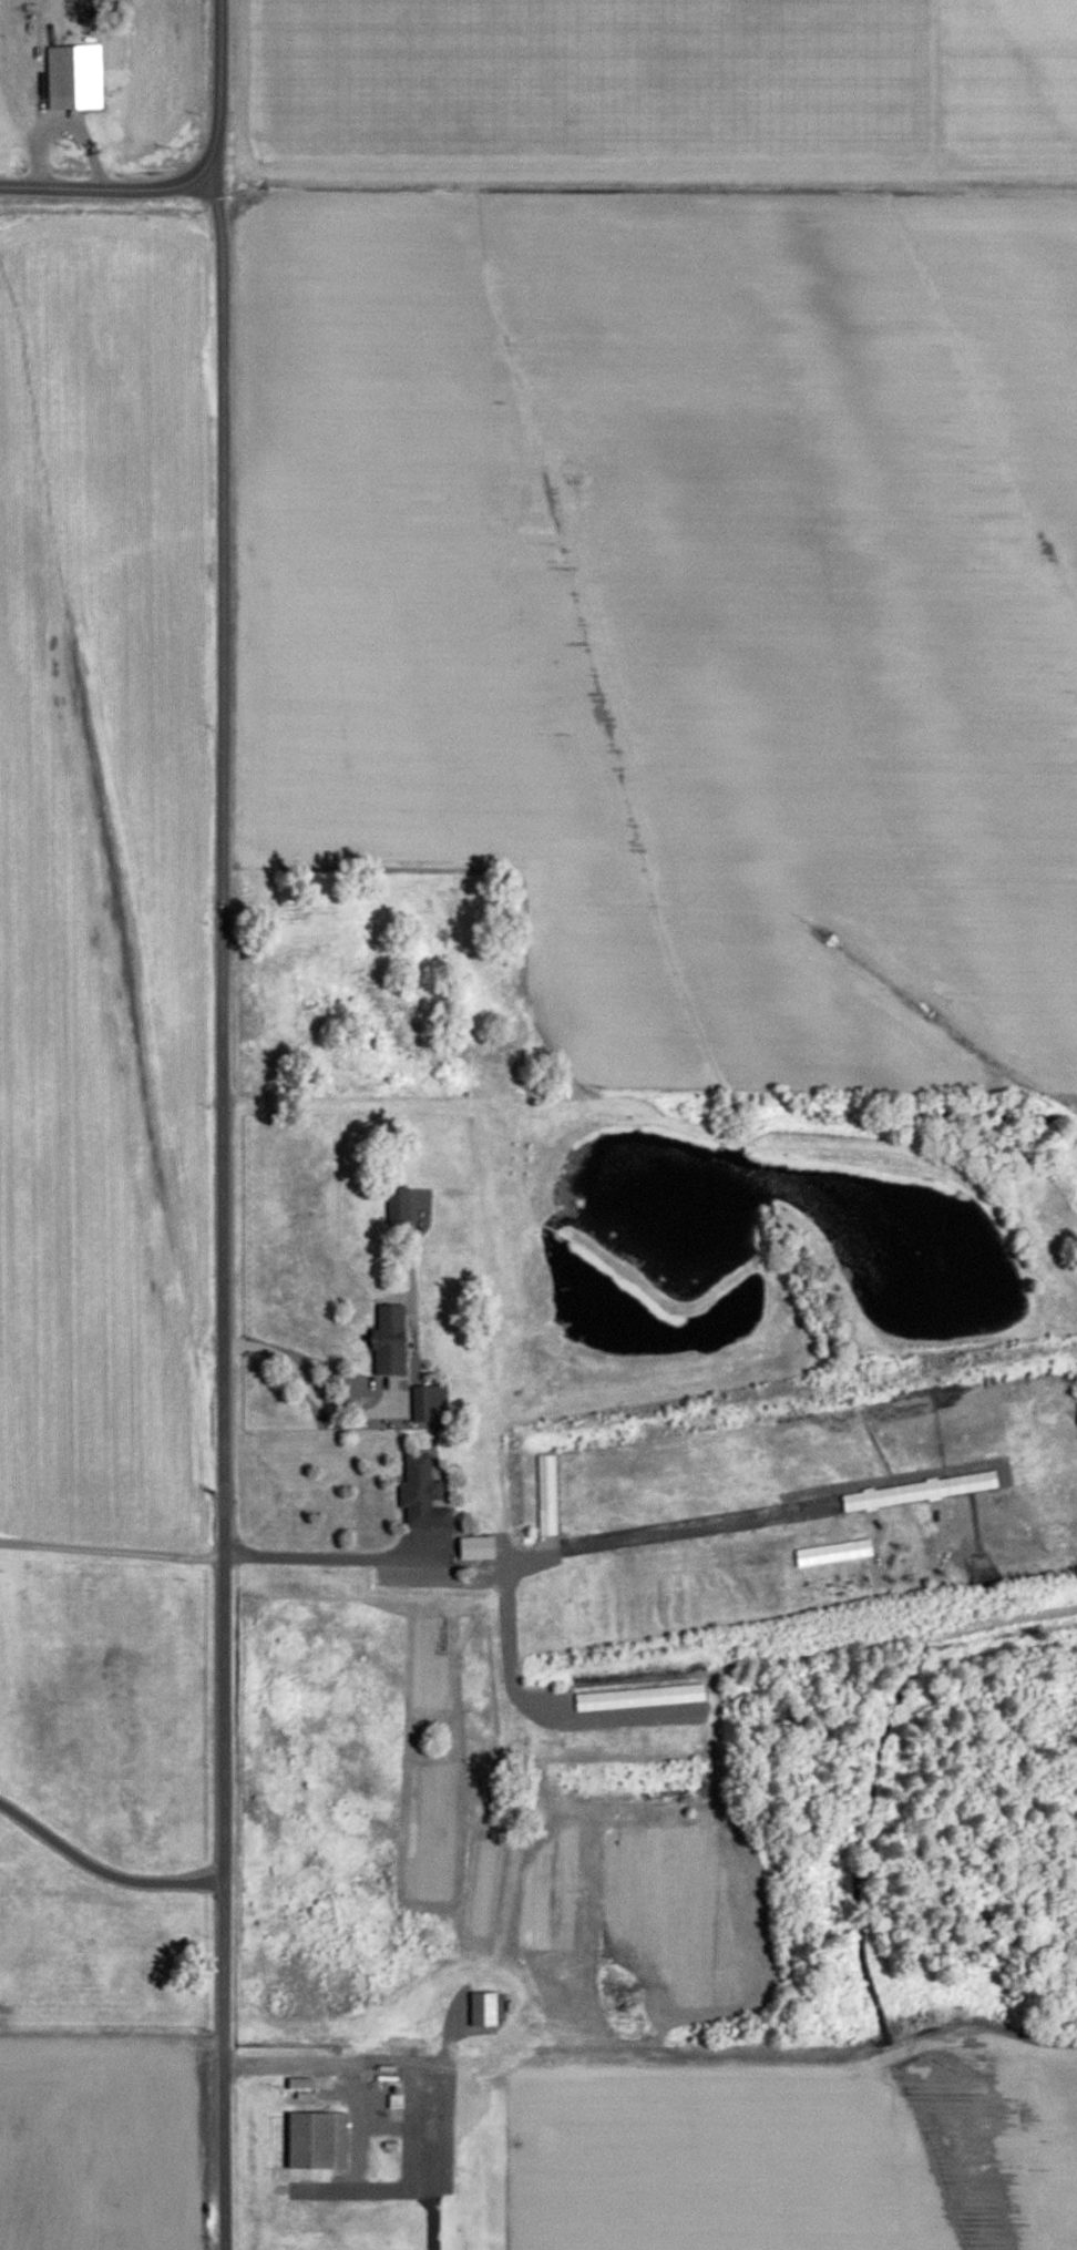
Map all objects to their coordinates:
building: (75, 78)
road: (189, 181)
building: (400, 1199)
road: (222, 1206)
building: (392, 1339)
road: (301, 1374)
building: (424, 1403)
building: (423, 1494)
building: (480, 1547)
road: (111, 1551)
road: (330, 1558)
road: (102, 1871)
airport hangar: (484, 2006)
building: (484, 2006)
road: (326, 2063)
airport hangar: (319, 2138)
building: (319, 2138)
airport runway: (428, 2156)
airport taxiway: (361, 2189)

